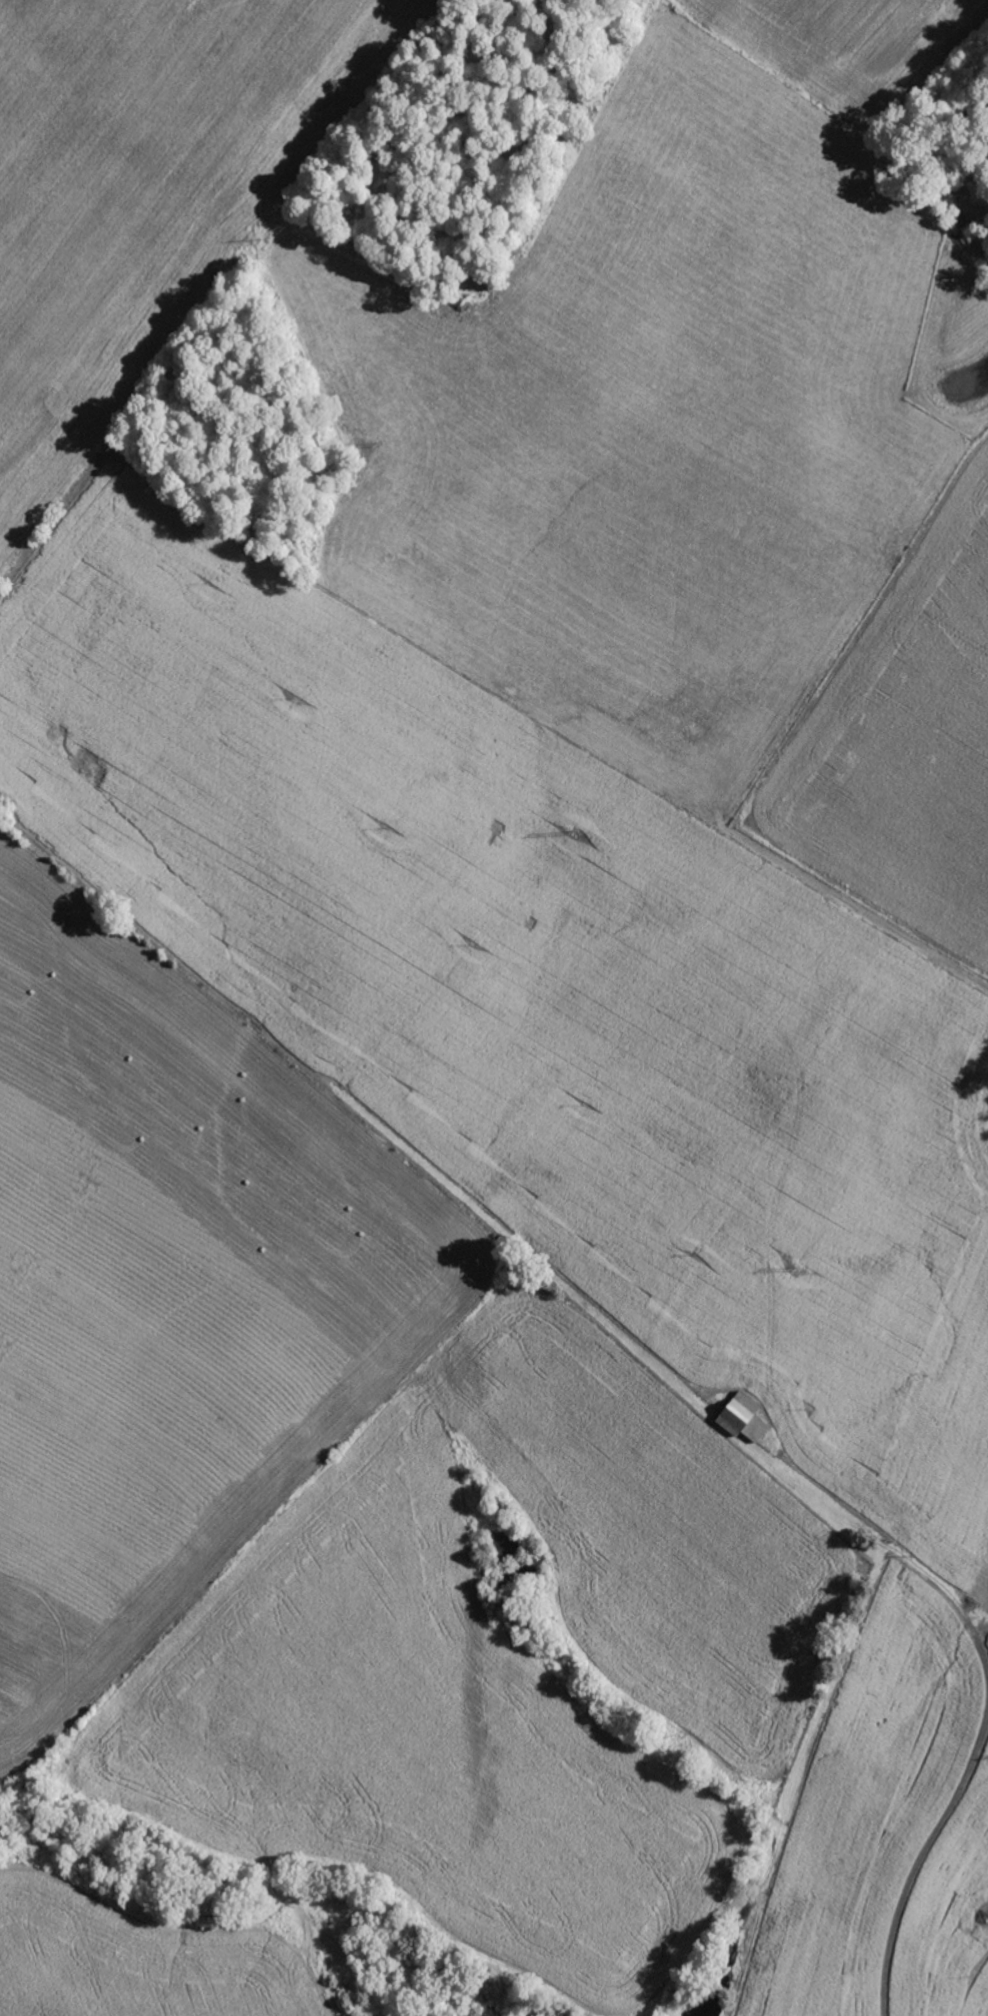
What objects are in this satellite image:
building: (741, 1417)

